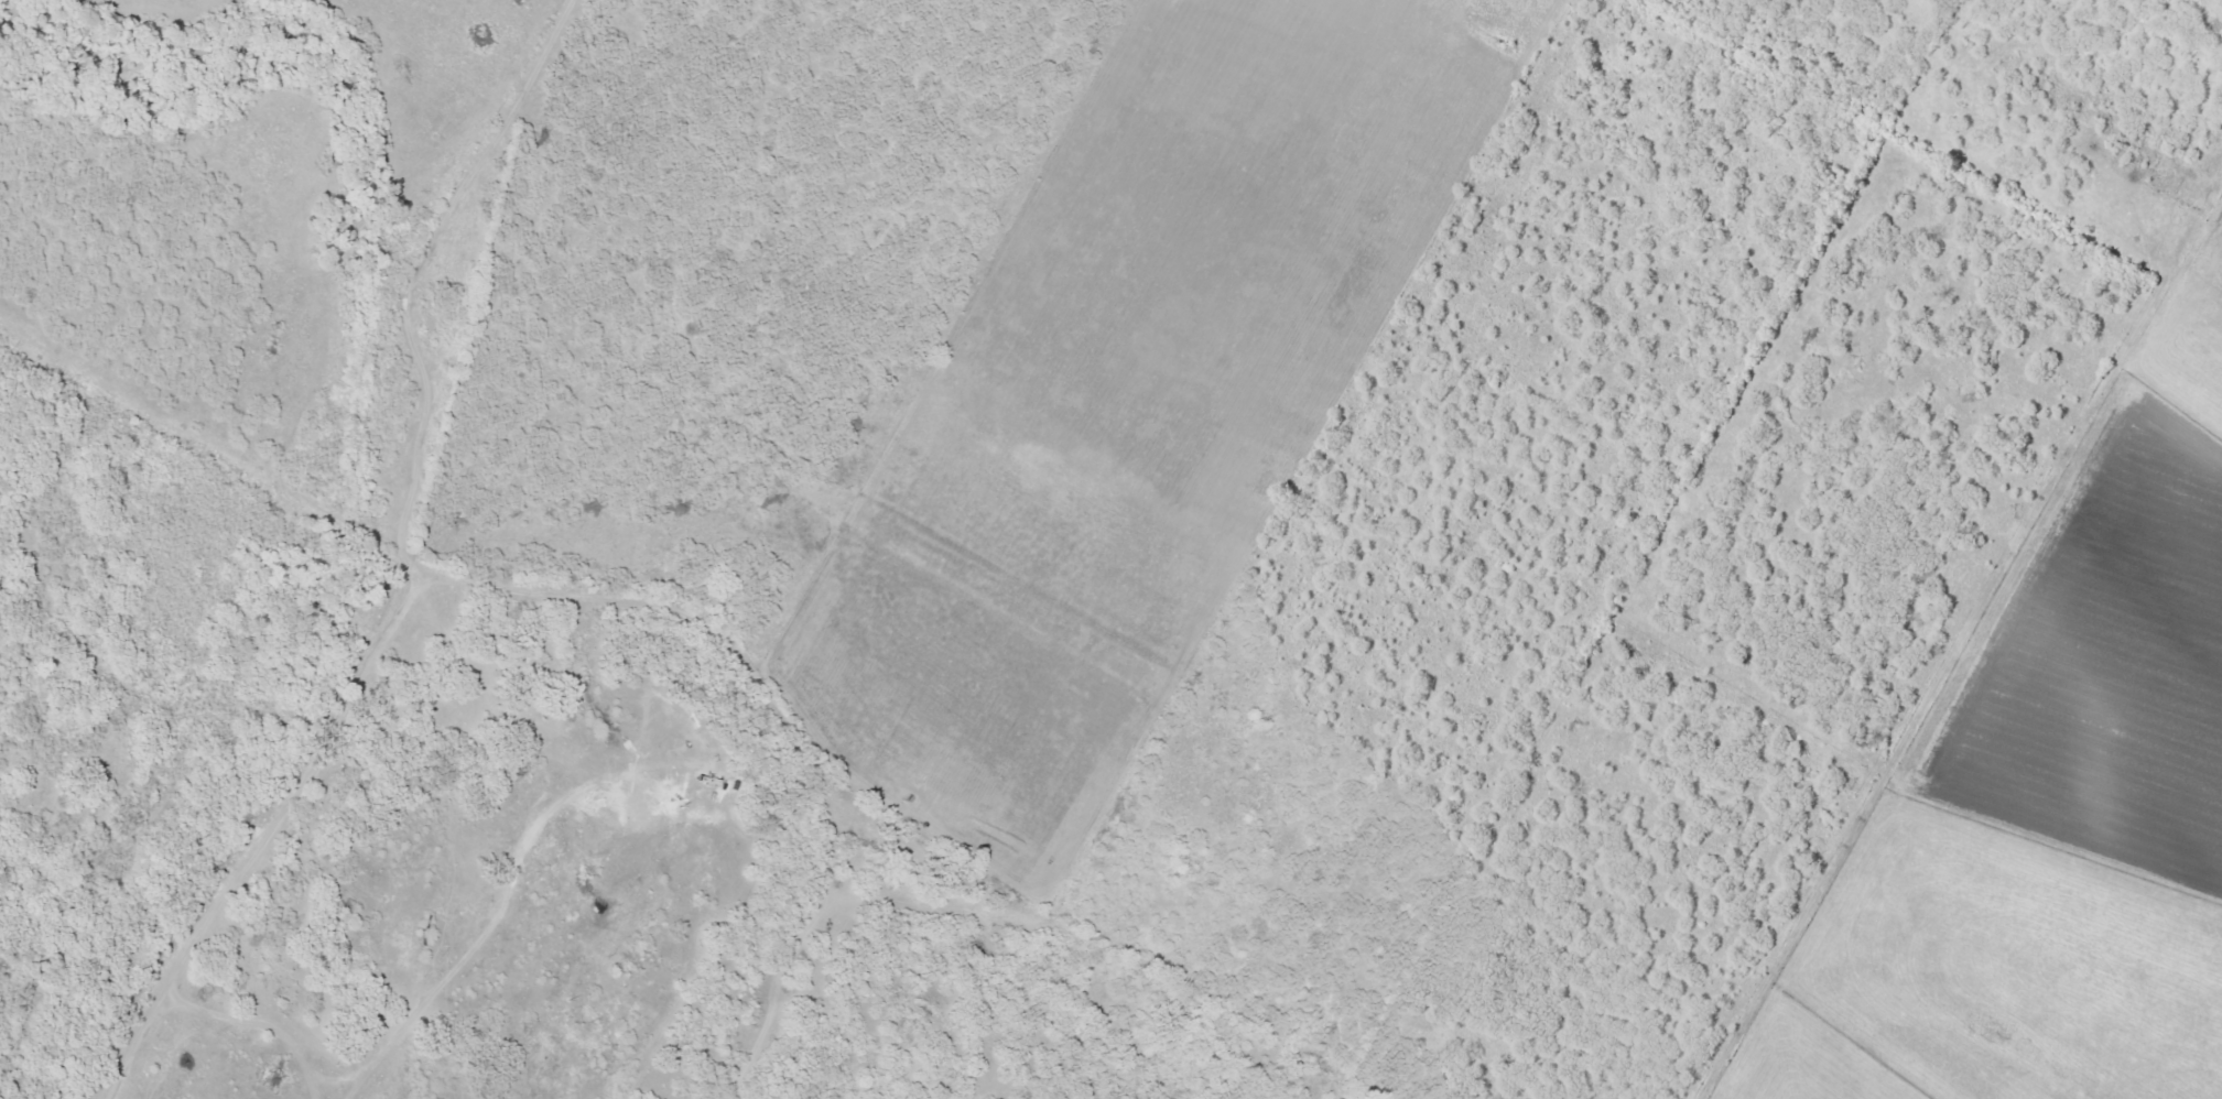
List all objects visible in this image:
road: (431, 540)
road: (177, 774)
road: (806, 897)

